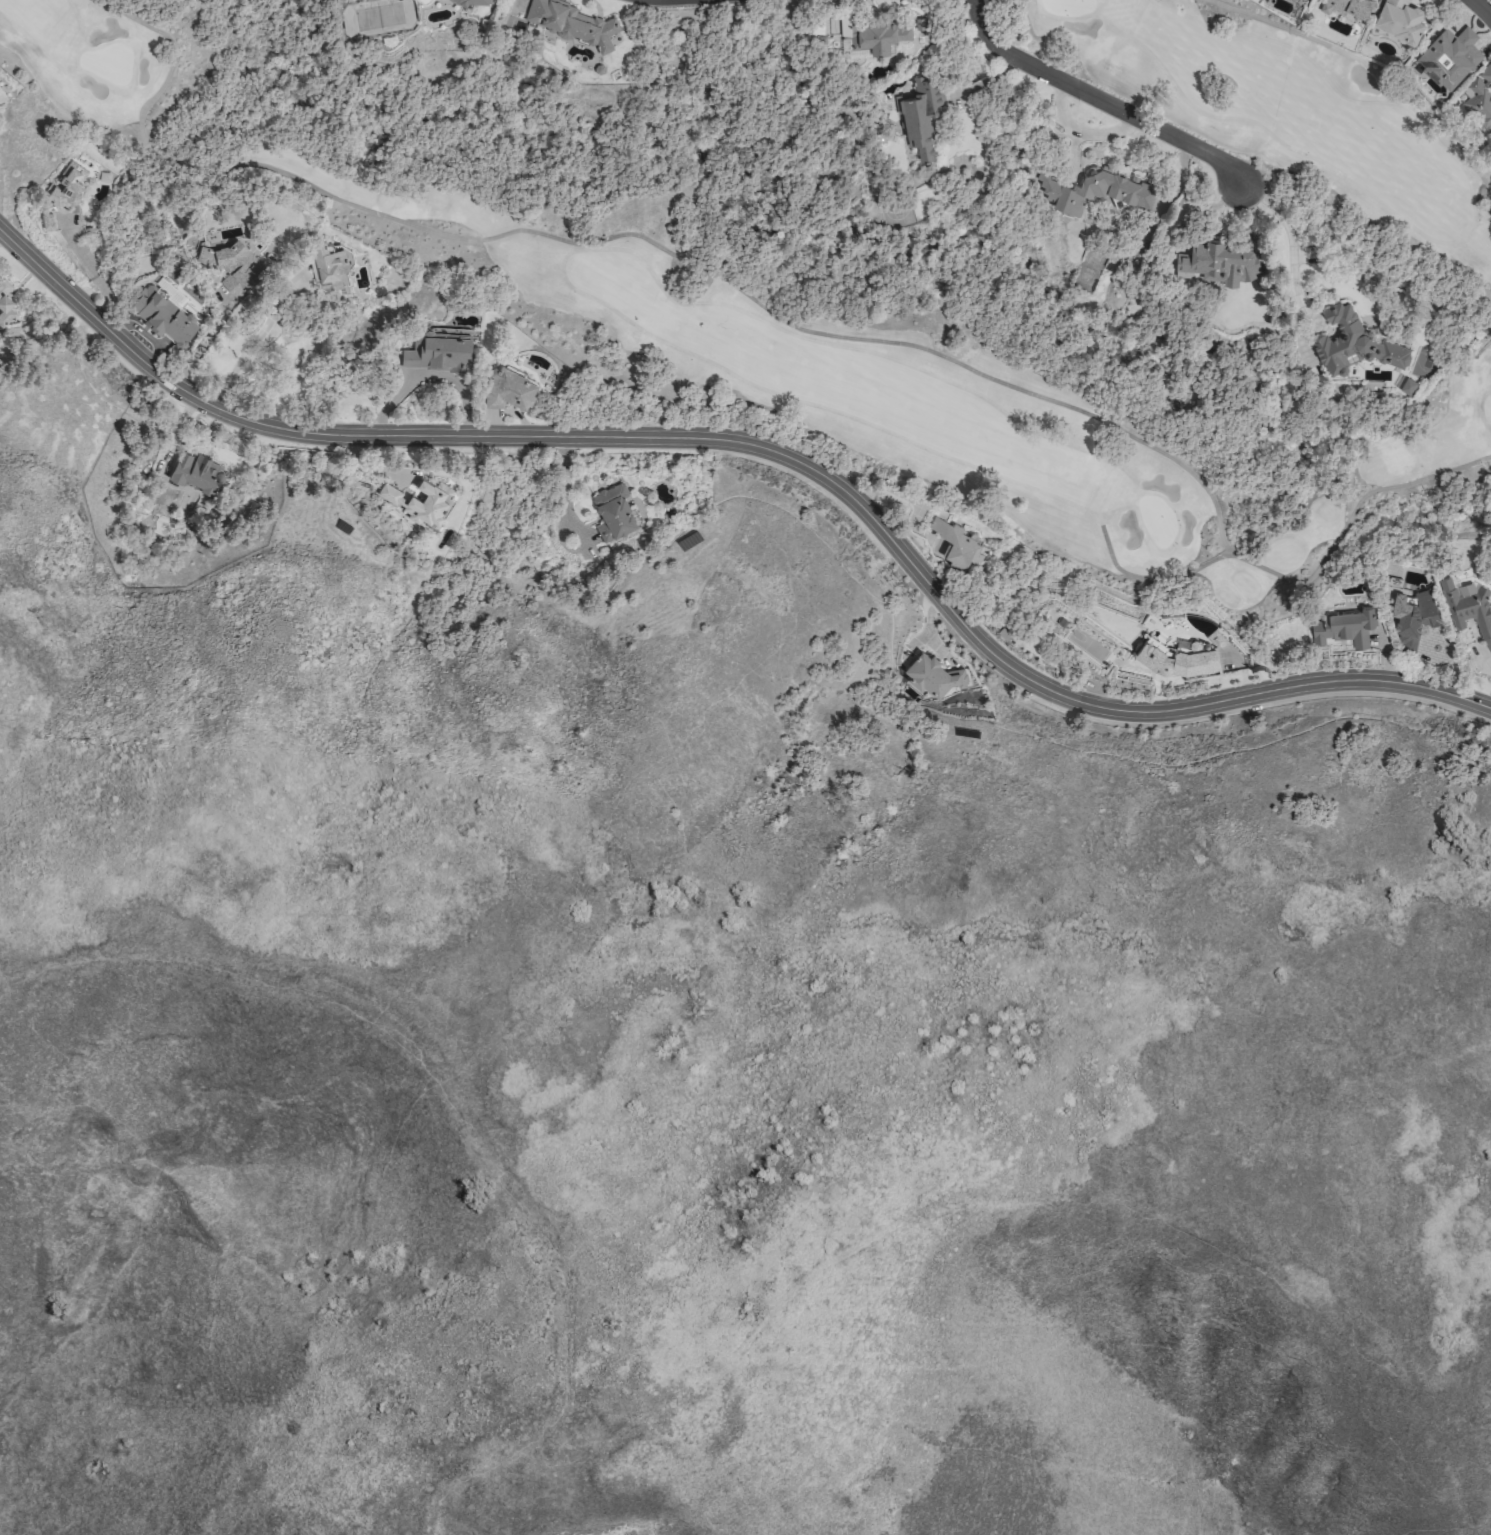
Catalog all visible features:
building: (471, 1)
building: (1347, 7)
road: (1483, 7)
building: (1399, 19)
building: (567, 21)
building: (823, 28)
building: (876, 36)
building: (1450, 56)
road: (1370, 68)
building: (1479, 97)
road: (1098, 100)
building: (922, 115)
building: (1094, 191)
building: (62, 196)
road: (1285, 231)
road: (630, 235)
building: (1218, 262)
park: (850, 263)
building: (327, 267)
building: (250, 268)
building: (5, 305)
building: (163, 317)
road: (252, 342)
building: (1353, 344)
building: (438, 354)
building: (509, 390)
road: (761, 449)
building: (196, 473)
road: (565, 487)
building: (402, 501)
building: (613, 513)
building: (957, 543)
road: (1301, 582)
building: (1469, 606)
building: (1410, 613)
building: (1344, 628)
building: (1175, 659)
building: (933, 675)

